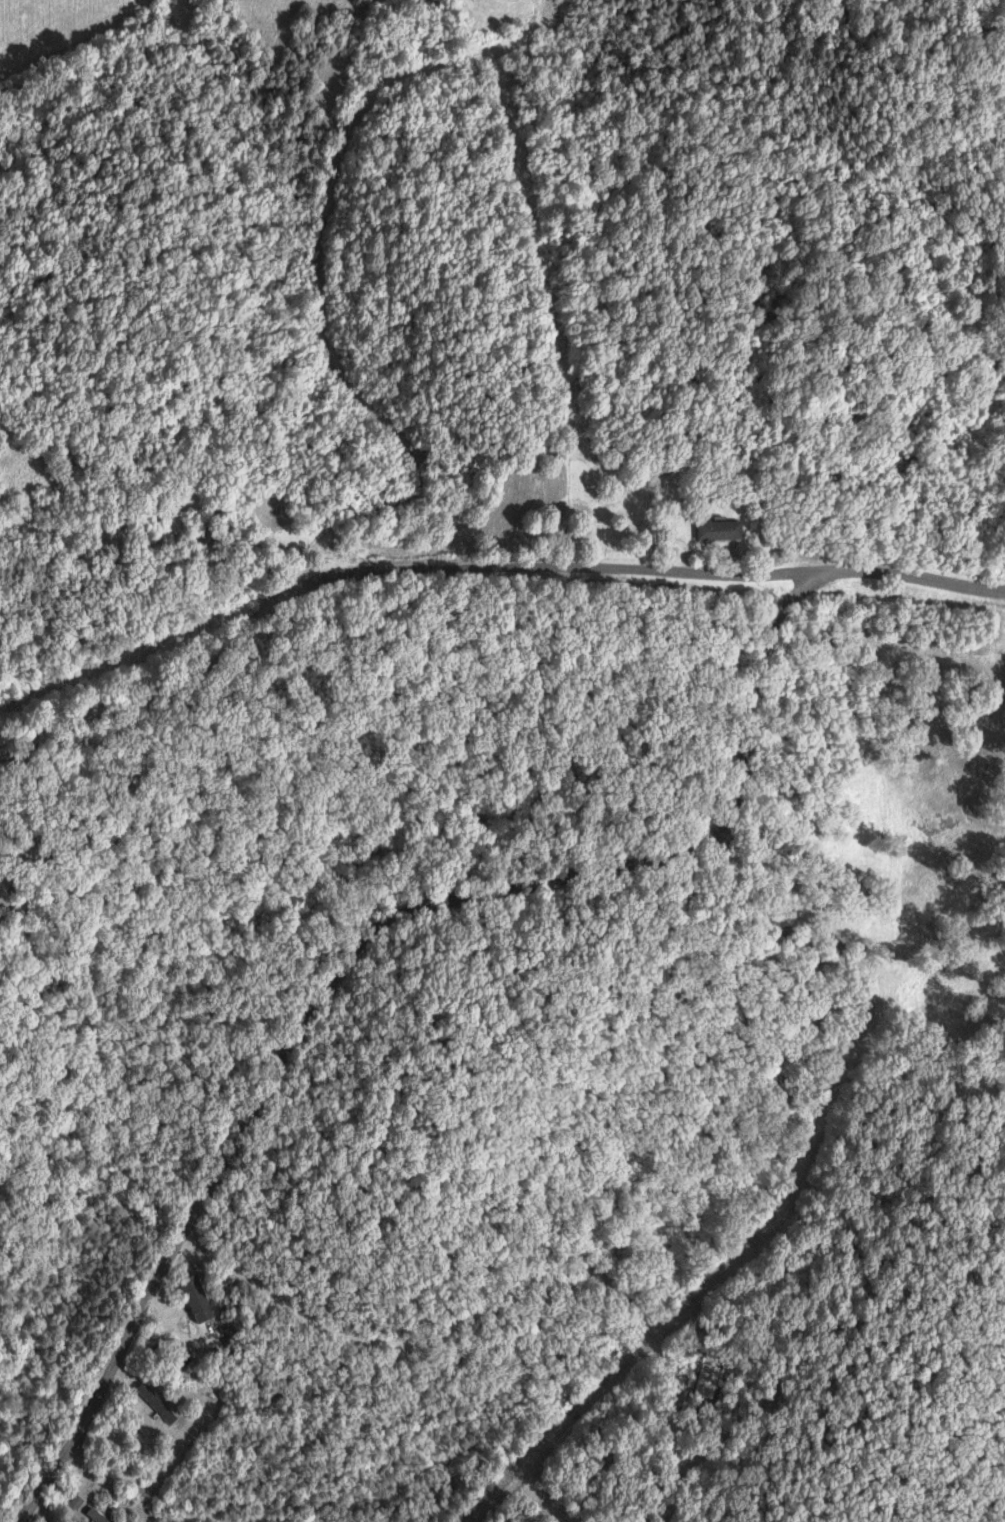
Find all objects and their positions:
road: (312, 272)
building: (724, 528)
road: (478, 567)
road: (350, 943)
road: (7, 1247)
road: (509, 1292)
building: (196, 1307)
building: (704, 1380)
building: (155, 1403)
building: (74, 1502)
building: (94, 1516)

